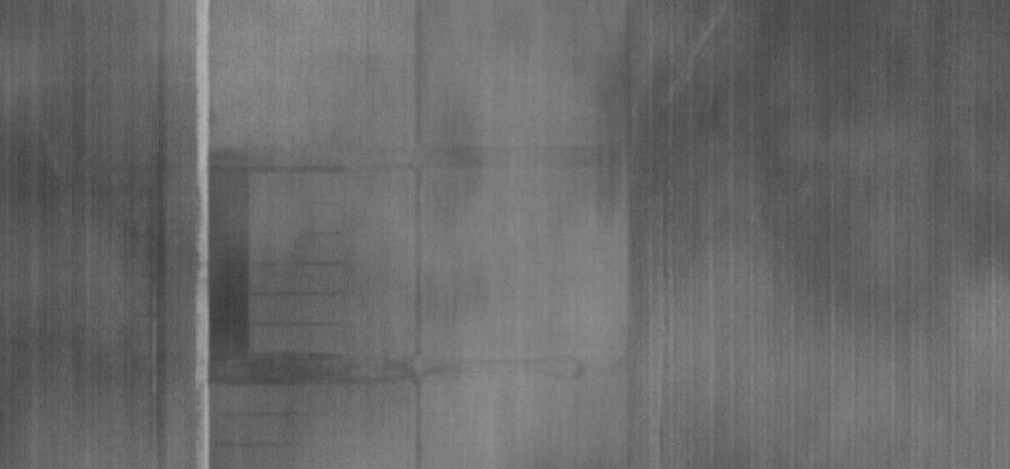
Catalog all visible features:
crop: (505, 234)

